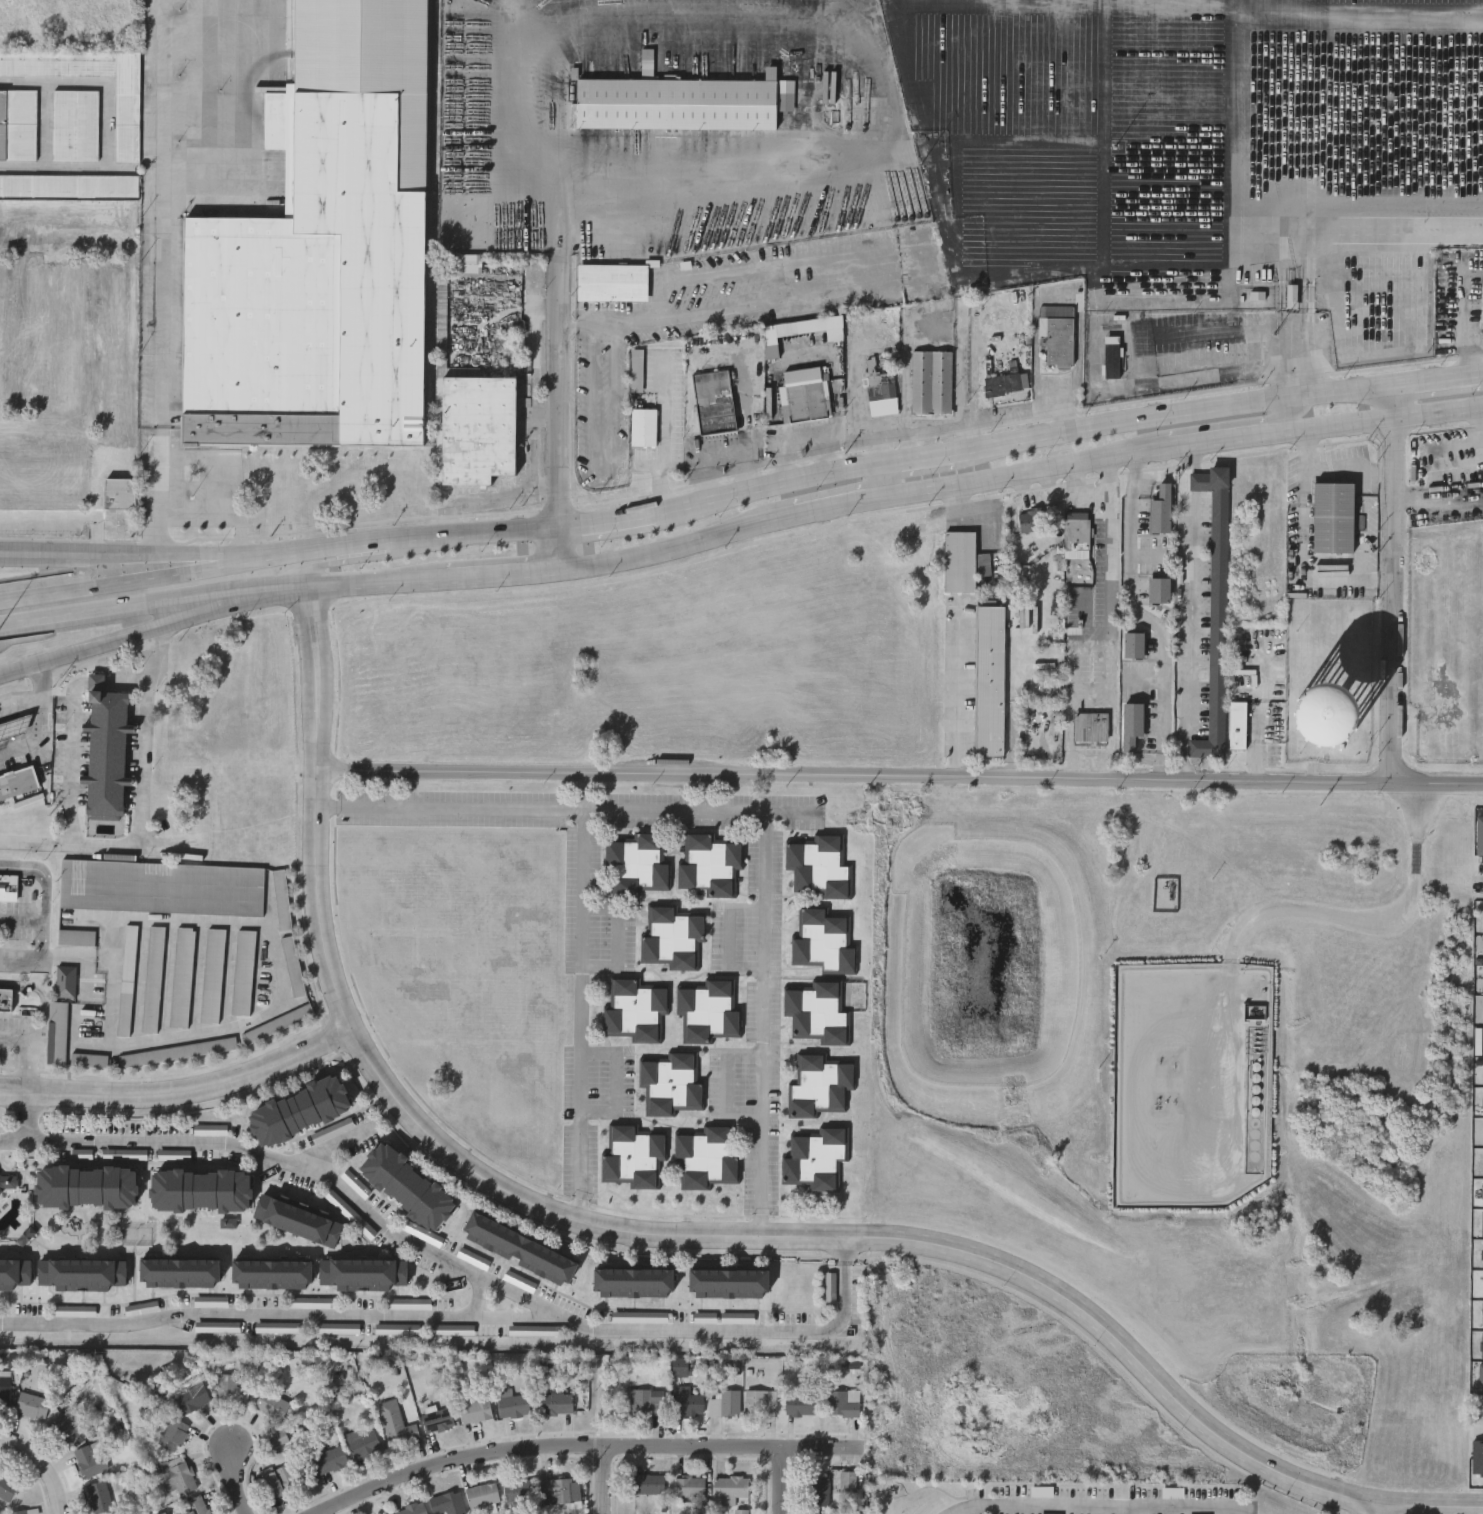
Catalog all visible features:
road: (1359, 12)
building: (372, 65)
road: (894, 90)
building: (682, 101)
building: (865, 117)
building: (128, 118)
building: (18, 124)
building: (76, 124)
road: (105, 125)
road: (529, 136)
road: (1233, 150)
building: (69, 185)
road: (1389, 209)
building: (69, 210)
building: (613, 281)
road: (1283, 287)
road: (1307, 287)
road: (162, 289)
building: (312, 292)
road: (717, 308)
building: (1056, 311)
road: (1463, 324)
road: (21, 337)
building: (1057, 339)
building: (60, 340)
building: (112, 349)
building: (1112, 355)
road: (1294, 367)
building: (637, 368)
road: (1481, 371)
road: (131, 373)
road: (1435, 378)
building: (932, 380)
building: (881, 381)
building: (803, 394)
road: (560, 395)
building: (714, 401)
road: (1172, 413)
building: (644, 425)
building: (476, 427)
road: (1224, 427)
road: (50, 434)
road: (880, 441)
road: (674, 443)
road: (1182, 443)
road: (722, 454)
road: (919, 454)
building: (44, 477)
road: (883, 479)
road: (776, 483)
road: (1079, 489)
building: (120, 492)
road: (839, 506)
road: (221, 507)
building: (1160, 510)
building: (1331, 517)
road: (615, 518)
building: (1031, 521)
building: (1076, 535)
road: (95, 536)
road: (398, 539)
road: (678, 548)
road: (560, 549)
road: (10, 553)
road: (119, 556)
road: (362, 558)
building: (959, 562)
road: (1109, 574)
road: (119, 577)
road: (503, 578)
road: (1391, 584)
road: (345, 585)
building: (1159, 591)
building: (1216, 605)
road: (1189, 609)
road: (122, 611)
road: (1142, 617)
road: (139, 631)
building: (1133, 645)
road: (18, 673)
road: (14, 679)
road: (98, 681)
building: (990, 681)
road: (127, 682)
road: (955, 693)
road: (1092, 693)
building: (1314, 715)
water tower: (1331, 718)
road: (37, 722)
building: (1131, 725)
building: (1237, 725)
building: (1090, 727)
gas station: (14, 730)
building: (113, 754)
road: (72, 757)
road: (599, 777)
building: (18, 781)
road: (1183, 781)
road: (142, 803)
road: (324, 810)
road: (582, 813)
building: (635, 866)
building: (709, 866)
building: (819, 868)
road: (1481, 884)
building: (7, 886)
building: (163, 887)
building: (282, 899)
road: (43, 911)
road: (1375, 918)
road: (21, 920)
building: (76, 936)
road: (730, 936)
road: (617, 937)
building: (671, 939)
building: (822, 942)
road: (277, 964)
building: (293, 965)
building: (244, 972)
building: (213, 975)
building: (182, 977)
building: (126, 979)
building: (152, 979)
building: (65, 981)
building: (5, 1000)
road: (43, 1000)
road: (582, 1005)
building: (634, 1011)
building: (707, 1012)
building: (817, 1013)
road: (759, 1014)
building: (278, 1024)
building: (57, 1032)
building: (179, 1051)
road: (29, 1052)
building: (89, 1059)
road: (615, 1080)
road: (728, 1083)
road: (382, 1085)
building: (670, 1085)
building: (818, 1087)
road: (178, 1097)
building: (298, 1110)
road: (30, 1115)
building: (706, 1157)
building: (632, 1158)
building: (815, 1160)
building: (5, 1183)
building: (86, 1187)
building: (407, 1187)
building: (199, 1190)
road: (582, 1211)
building: (296, 1221)
road: (754, 1226)
building: (518, 1249)
road: (458, 1260)
building: (178, 1273)
building: (15, 1274)
building: (81, 1274)
building: (270, 1274)
building: (362, 1274)
building: (634, 1280)
building: (731, 1280)
building: (519, 1281)
building: (831, 1291)
road: (256, 1311)
building: (398, 1331)
road: (1160, 1385)
building: (229, 1388)
building: (4, 1389)
building: (190, 1399)
building: (686, 1401)
building: (642, 1403)
building: (759, 1403)
building: (841, 1403)
building: (555, 1404)
building: (723, 1404)
building: (270, 1405)
building: (512, 1405)
building: (798, 1405)
building: (31, 1406)
building: (474, 1406)
road: (1479, 1413)
building: (437, 1420)
building: (395, 1424)
building: (63, 1428)
building: (172, 1435)
building: (276, 1438)
road: (606, 1441)
building: (362, 1444)
road: (571, 1447)
building: (89, 1460)
building: (328, 1461)
road: (45, 1468)
road: (234, 1475)
building: (175, 1476)
road: (779, 1480)
building: (278, 1482)
building: (847, 1482)
building: (647, 1485)
building: (6, 1487)
building: (689, 1487)
building: (729, 1488)
building: (518, 1490)
building: (1042, 1490)
building: (559, 1491)
building: (817, 1491)
building: (1172, 1492)
building: (482, 1495)
building: (98, 1497)
building: (447, 1503)
building: (190, 1507)
building: (412, 1509)
road: (1103, 1509)
road: (1369, 1509)
building: (738, 1511)
road: (1119, 1511)
building: (17, 1512)

